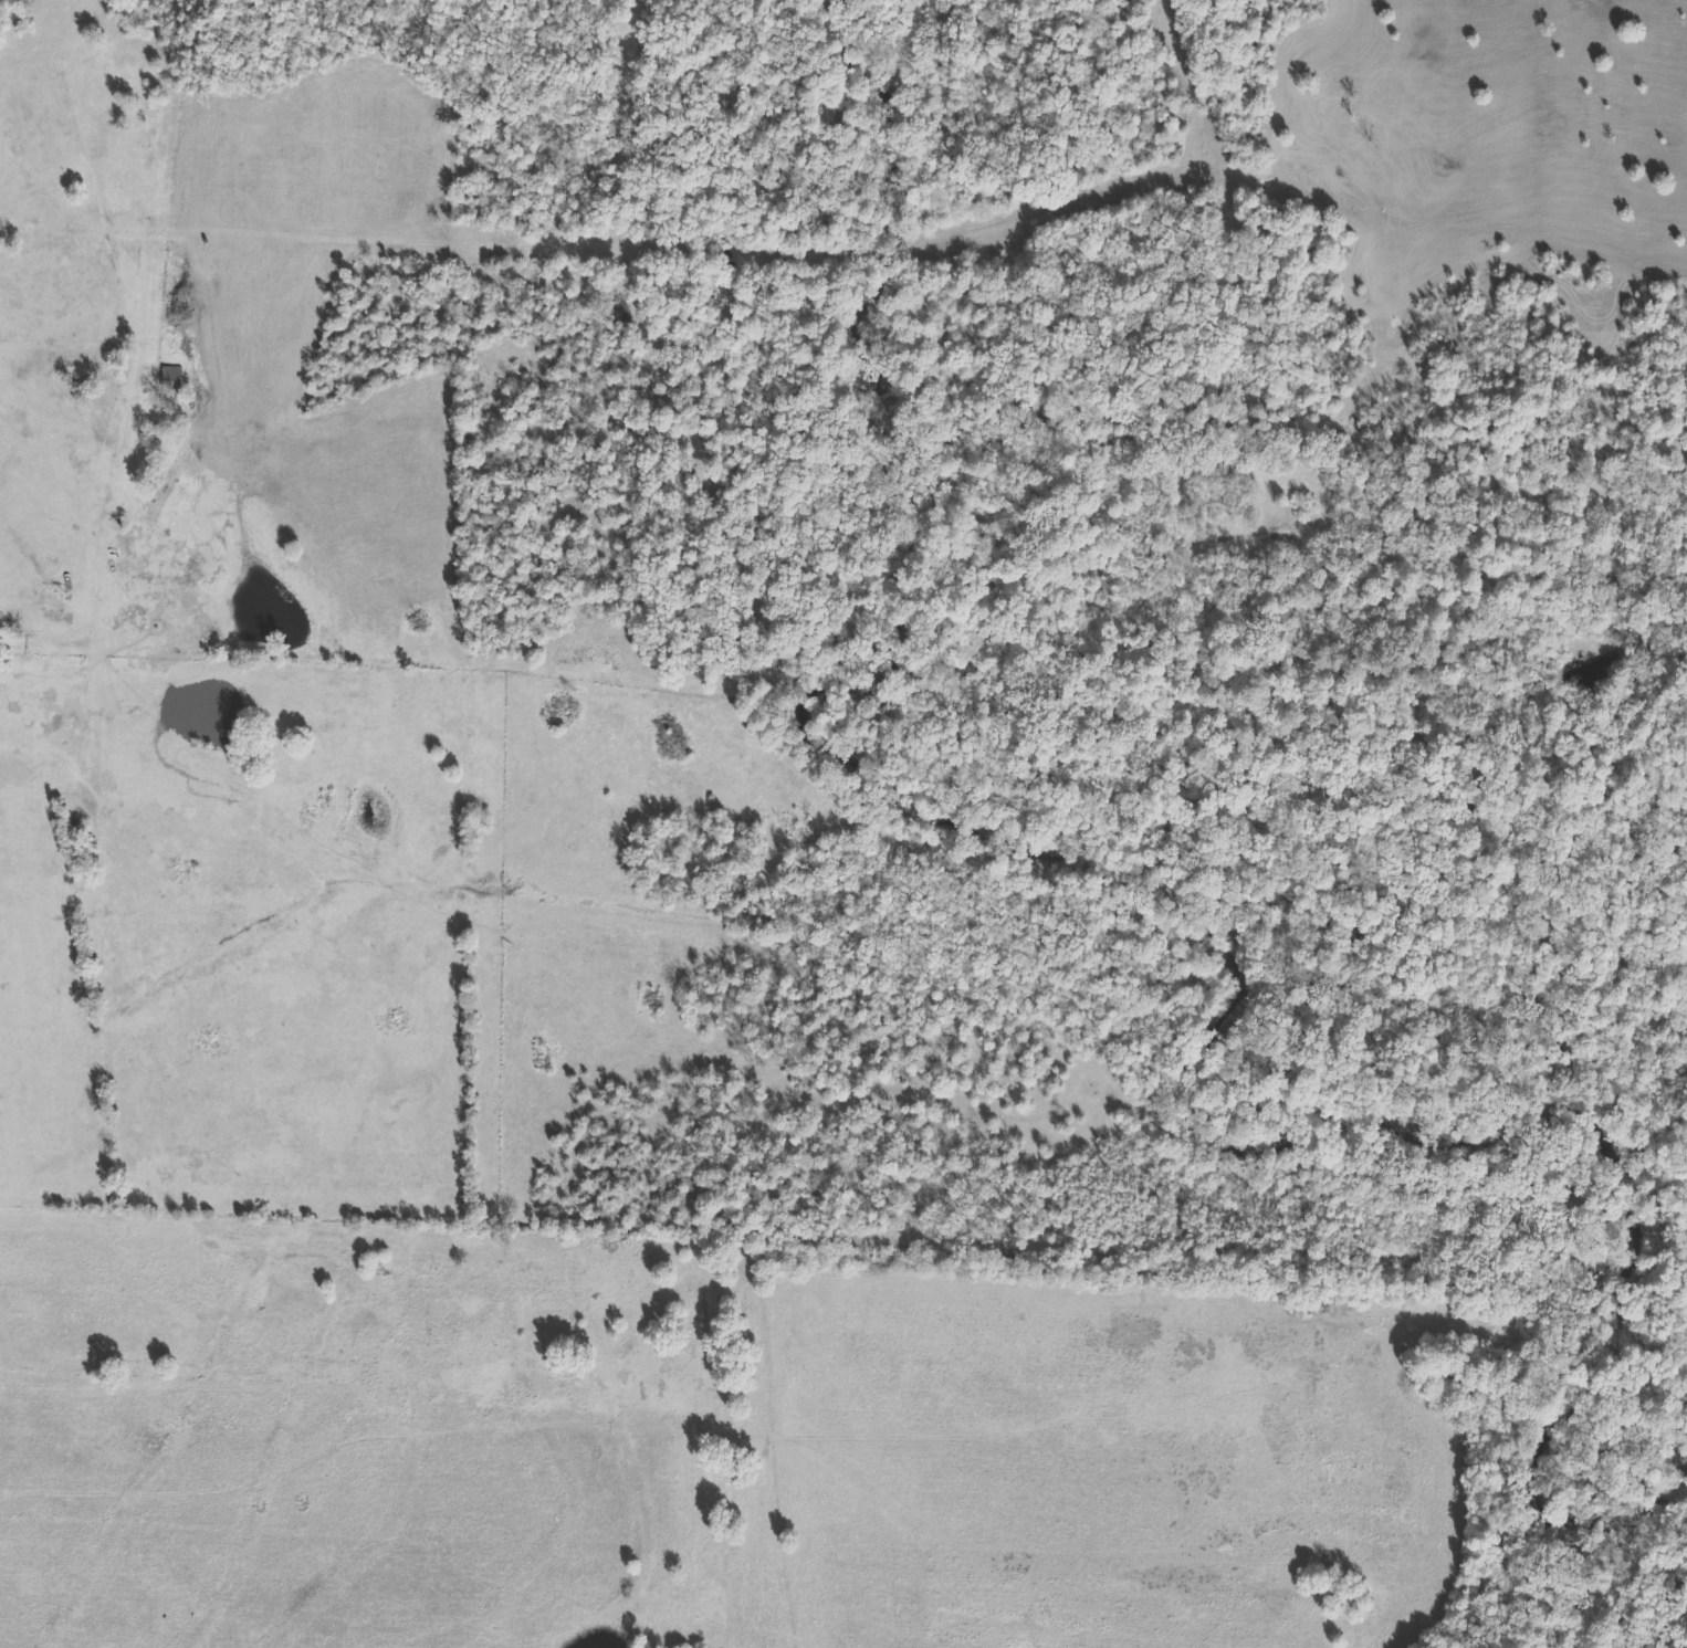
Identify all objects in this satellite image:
building: (174, 380)
building: (142, 623)

